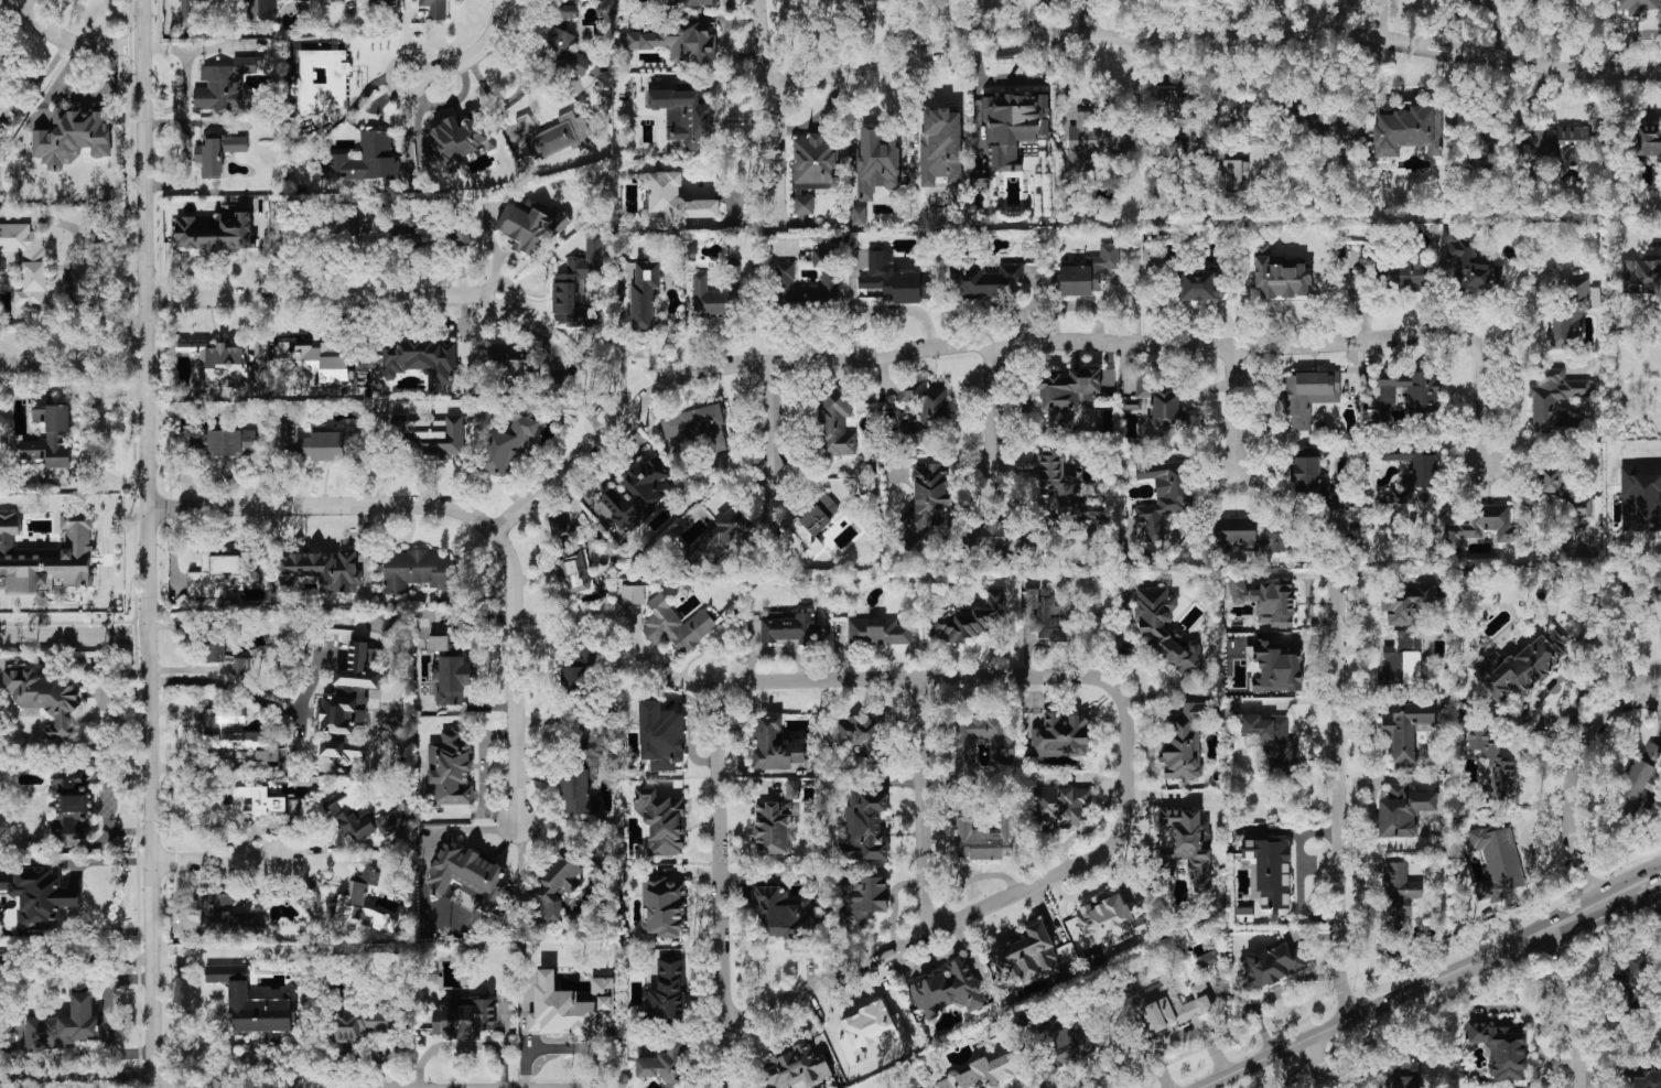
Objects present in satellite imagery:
building: (301, 0)
road: (1482, 0)
building: (692, 2)
building: (1637, 6)
building: (268, 9)
building: (435, 9)
building: (568, 10)
building: (190, 11)
road: (1214, 37)
road: (74, 41)
building: (679, 41)
road: (201, 47)
building: (563, 51)
road: (471, 53)
building: (323, 80)
building: (225, 84)
road: (83, 96)
road: (184, 96)
building: (1172, 101)
building: (4, 105)
road: (770, 111)
building: (684, 114)
building: (1243, 115)
building: (1405, 129)
building: (1011, 131)
building: (554, 136)
building: (72, 138)
building: (456, 139)
building: (1085, 140)
building: (1649, 140)
building: (941, 143)
building: (1556, 144)
building: (217, 152)
building: (367, 158)
building: (813, 163)
building: (876, 163)
building: (1232, 174)
building: (673, 201)
building: (803, 205)
building: (859, 215)
building: (529, 225)
building: (215, 231)
building: (409, 237)
building: (26, 262)
building: (1469, 262)
building: (1086, 272)
building: (1401, 274)
building: (785, 276)
building: (1641, 276)
building: (894, 278)
building: (983, 279)
building: (1282, 279)
building: (579, 281)
building: (1200, 284)
road: (322, 294)
building: (644, 295)
building: (711, 298)
building: (1570, 315)
road: (1015, 342)
building: (317, 360)
building: (422, 360)
building: (222, 364)
building: (509, 364)
building: (561, 383)
building: (1409, 389)
building: (1067, 395)
building: (1307, 395)
building: (1553, 397)
building: (1160, 406)
road: (993, 409)
road: (1232, 410)
building: (923, 411)
road: (768, 420)
building: (835, 424)
building: (697, 425)
building: (50, 434)
building: (428, 437)
building: (224, 443)
building: (505, 445)
building: (1412, 470)
building: (1550, 480)
building: (1316, 484)
building: (1066, 487)
building: (1163, 494)
building: (636, 495)
building: (1640, 502)
building: (926, 503)
building: (1581, 507)
road: (468, 516)
building: (1481, 525)
building: (559, 526)
building: (811, 527)
building: (1244, 536)
building: (993, 538)
building: (720, 541)
road: (148, 543)
road: (108, 552)
building: (47, 556)
building: (418, 569)
building: (575, 569)
building: (322, 570)
road: (1462, 570)
building: (216, 574)
building: (632, 594)
building: (1265, 600)
building: (1404, 603)
building: (1045, 614)
building: (969, 618)
building: (676, 625)
building: (1164, 628)
building: (787, 629)
building: (880, 631)
road: (73, 634)
building: (214, 648)
building: (1403, 658)
building: (240, 666)
building: (1274, 667)
building: (1519, 667)
building: (449, 670)
road: (666, 670)
building: (576, 671)
road: (1046, 675)
road: (1636, 685)
building: (349, 691)
road: (258, 697)
building: (45, 699)
road: (186, 713)
building: (1406, 729)
building: (233, 734)
building: (861, 734)
building: (660, 735)
building: (1060, 735)
building: (1269, 739)
building: (1185, 742)
building: (981, 745)
building: (775, 746)
building: (344, 747)
building: (1493, 762)
building: (1404, 765)
building: (452, 769)
building: (1640, 778)
building: (581, 785)
road: (1567, 787)
road: (1336, 801)
building: (73, 804)
building: (1058, 805)
road: (926, 806)
building: (1403, 810)
building: (350, 814)
building: (395, 820)
building: (662, 821)
building: (864, 825)
building: (774, 827)
building: (984, 840)
building: (1187, 843)
road: (213, 860)
road: (105, 862)
building: (1498, 862)
building: (1271, 870)
building: (468, 874)
road: (1646, 882)
building: (558, 886)
building: (1398, 892)
road: (75, 896)
building: (861, 896)
building: (35, 898)
building: (362, 900)
building: (664, 906)
building: (783, 914)
building: (226, 916)
building: (1110, 918)
road: (101, 933)
building: (1027, 955)
road: (74, 959)
building: (1271, 965)
building: (1631, 974)
building: (948, 988)
road: (1416, 988)
building: (668, 990)
road: (1275, 993)
building: (254, 1004)
building: (571, 1006)
road: (1570, 1006)
building: (1171, 1009)
road: (108, 1017)
building: (467, 1017)
building: (438, 1020)
building: (67, 1022)
building: (359, 1022)
road: (1186, 1035)
building: (1066, 1042)
road: (562, 1048)
building: (1501, 1049)
road: (724, 1062)
road: (1315, 1063)
building: (666, 1065)
building: (792, 1067)
building: (983, 1073)
road: (90, 1075)
building: (1402, 1075)
building: (1641, 1080)
road: (564, 1087)

